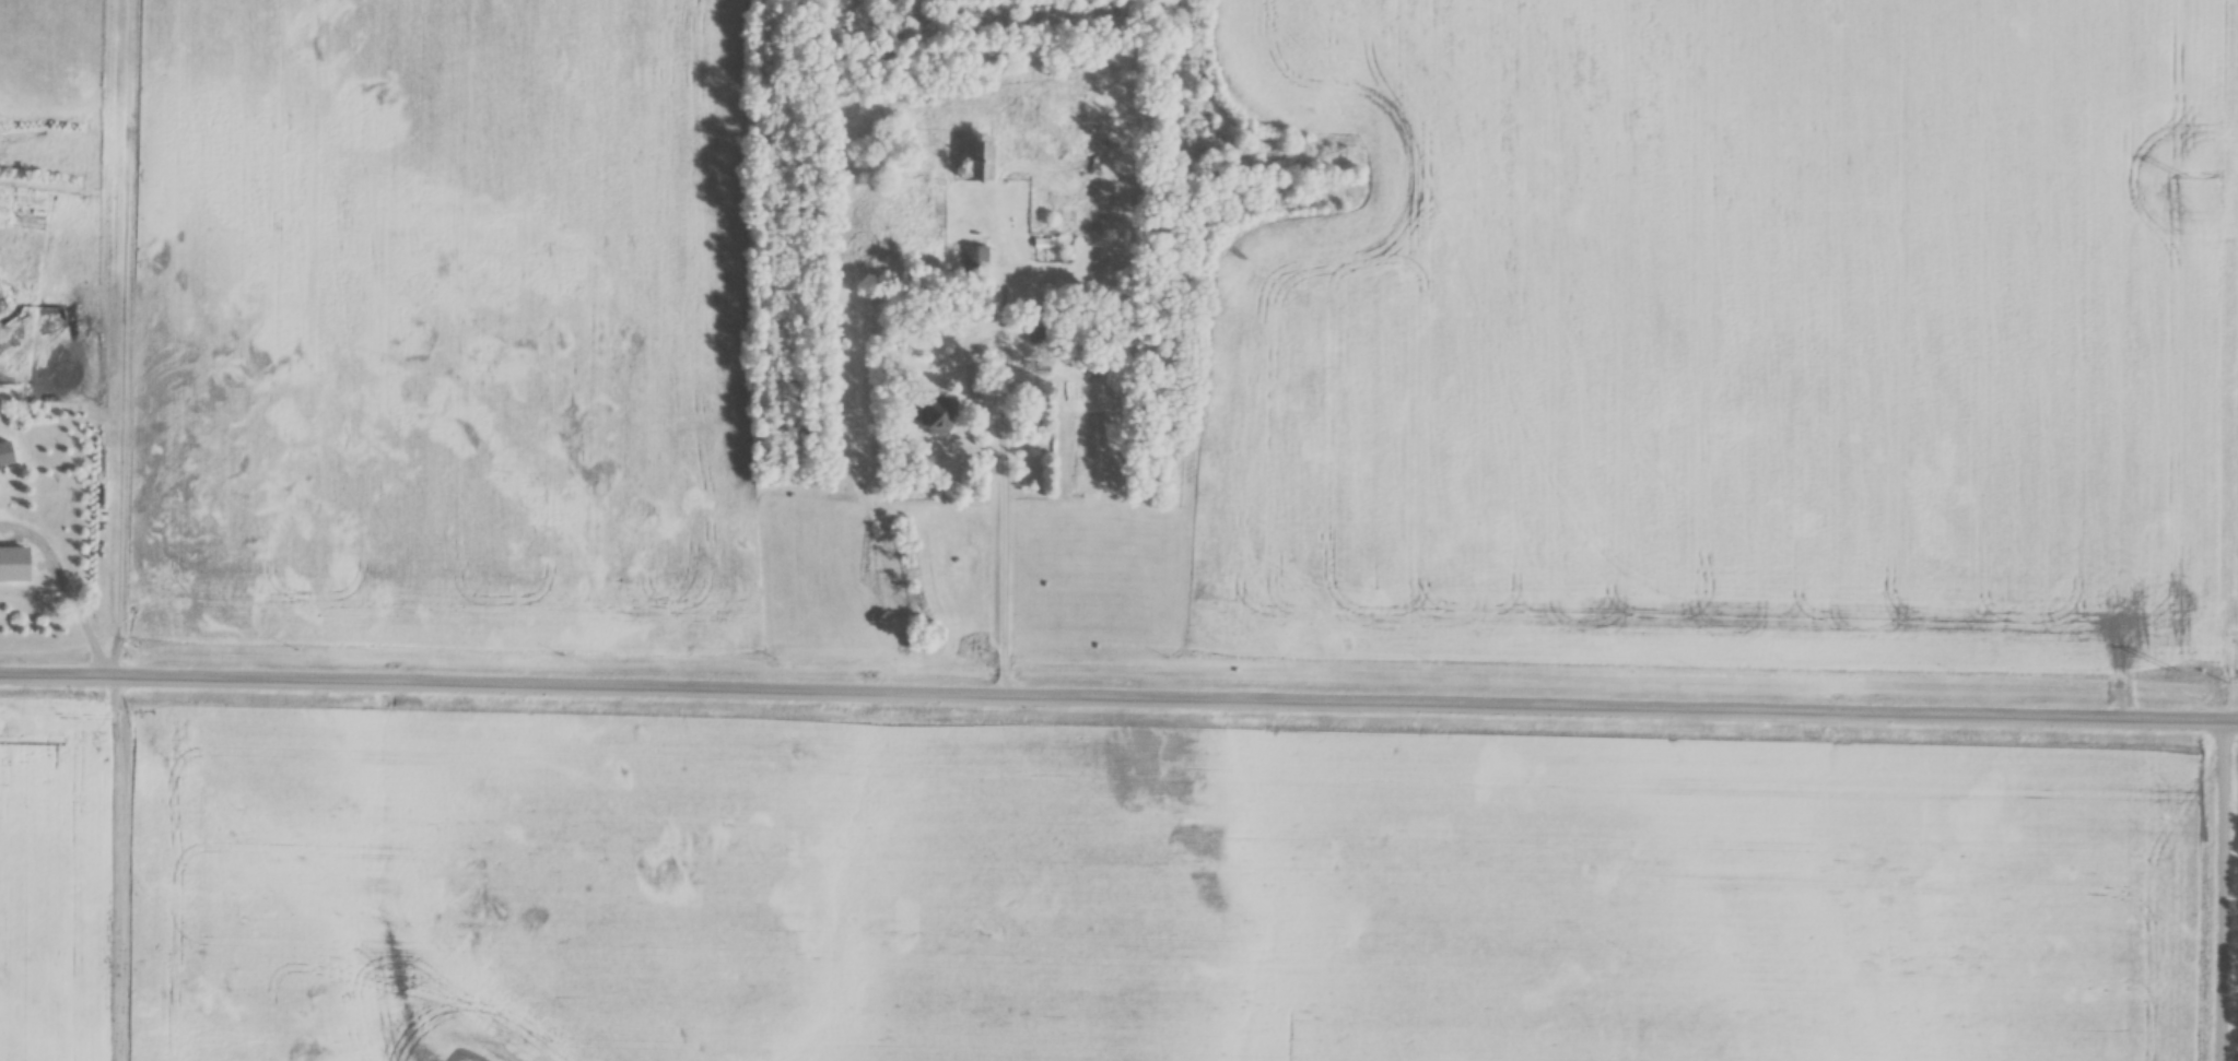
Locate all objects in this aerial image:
building: (977, 165)
power tower: (2183, 179)
building: (974, 262)
building: (1041, 327)
building: (933, 418)
building: (4, 457)
road: (998, 545)
building: (17, 577)
road: (79, 613)
power tower: (2172, 673)
road: (1118, 705)

